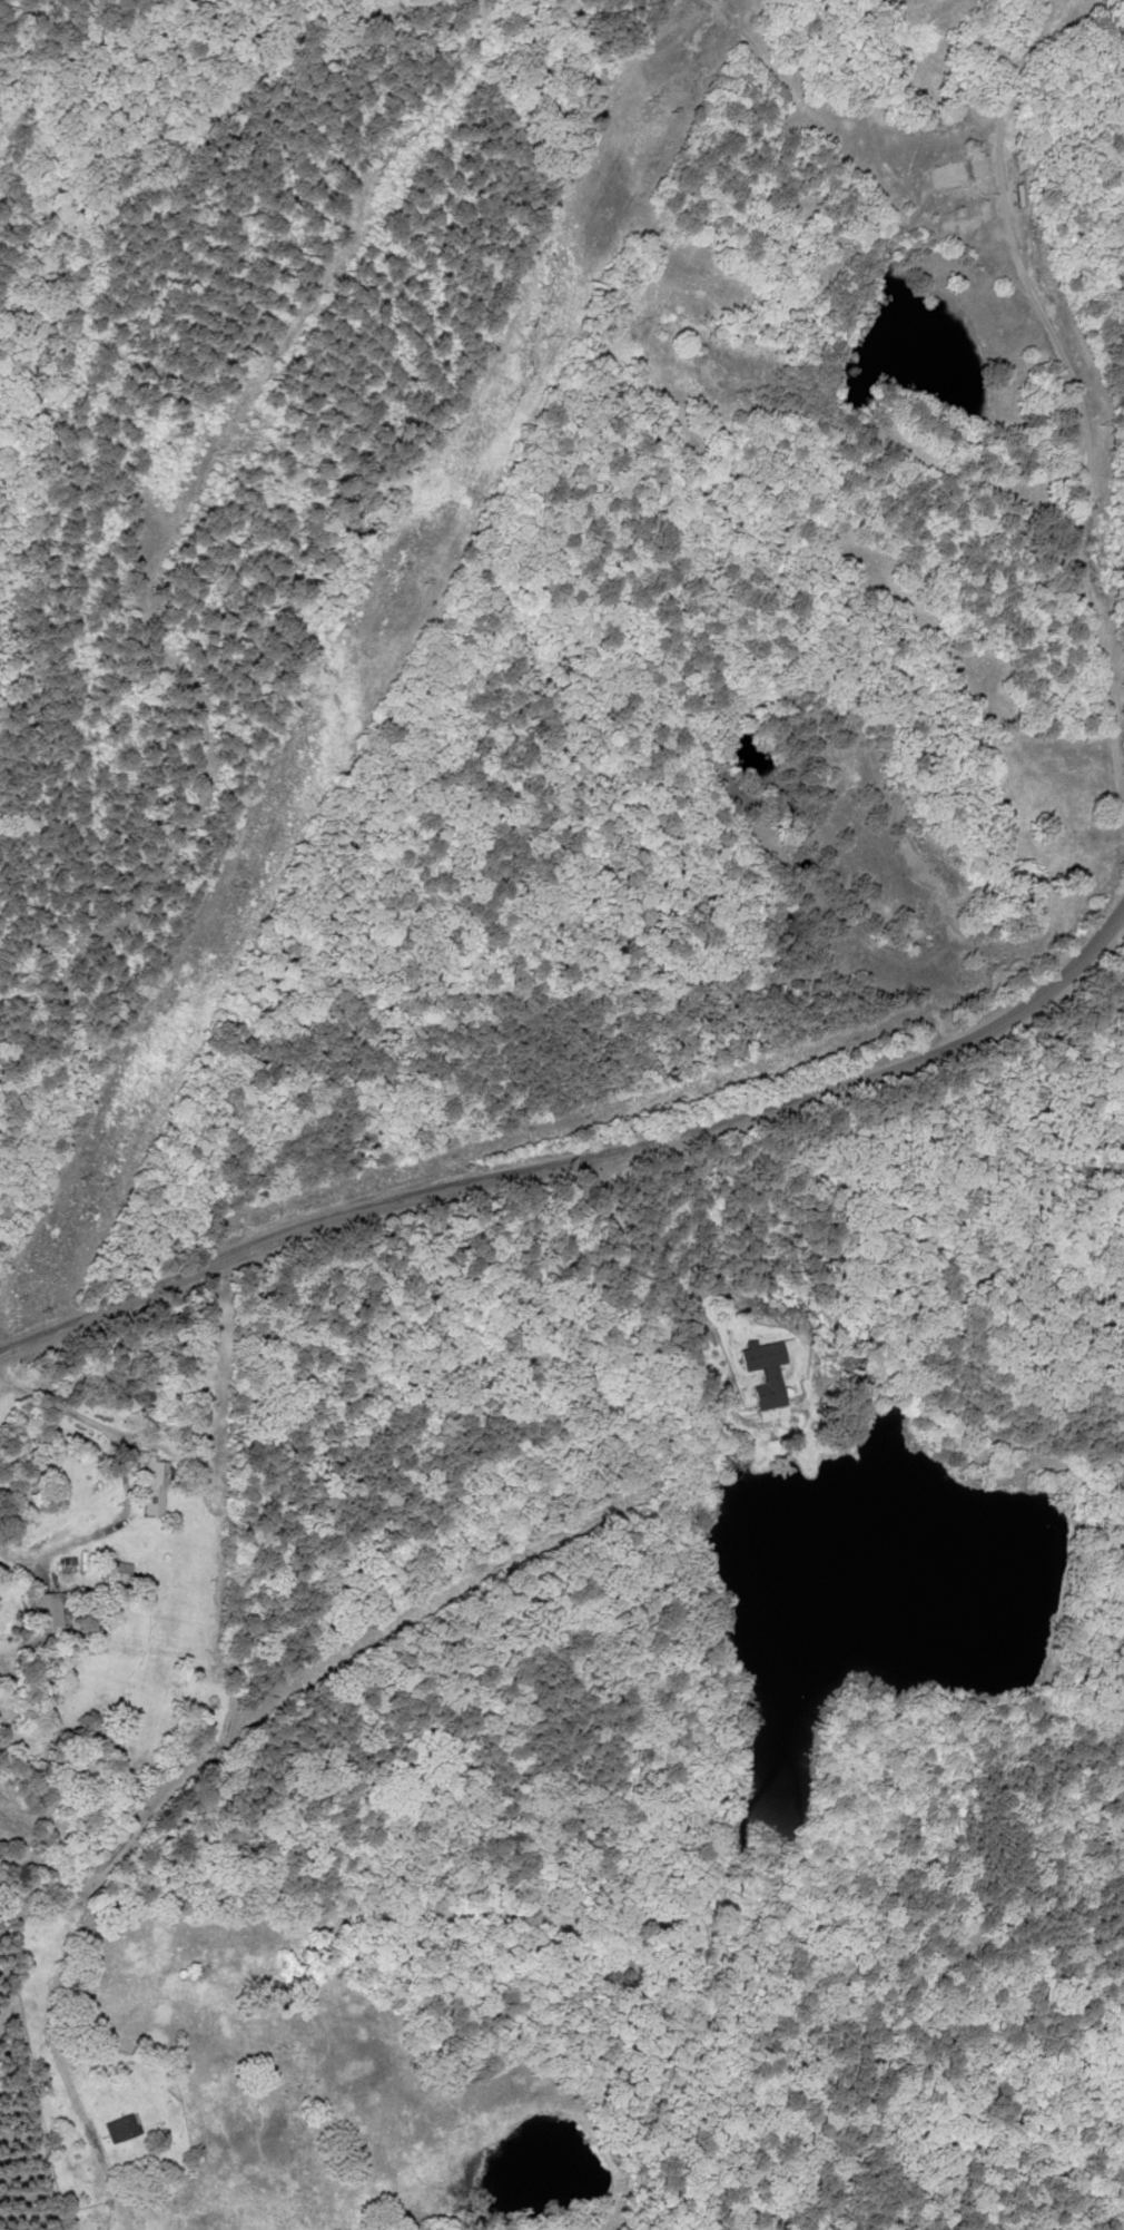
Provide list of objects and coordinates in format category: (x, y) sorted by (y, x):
building: (603, 78)
building: (980, 166)
building: (950, 175)
power tower: (390, 558)
road: (687, 1114)
road: (114, 1305)
building: (765, 1356)
building: (154, 1482)
building: (118, 1578)
building: (51, 1611)
road: (205, 1771)
building: (122, 2128)

